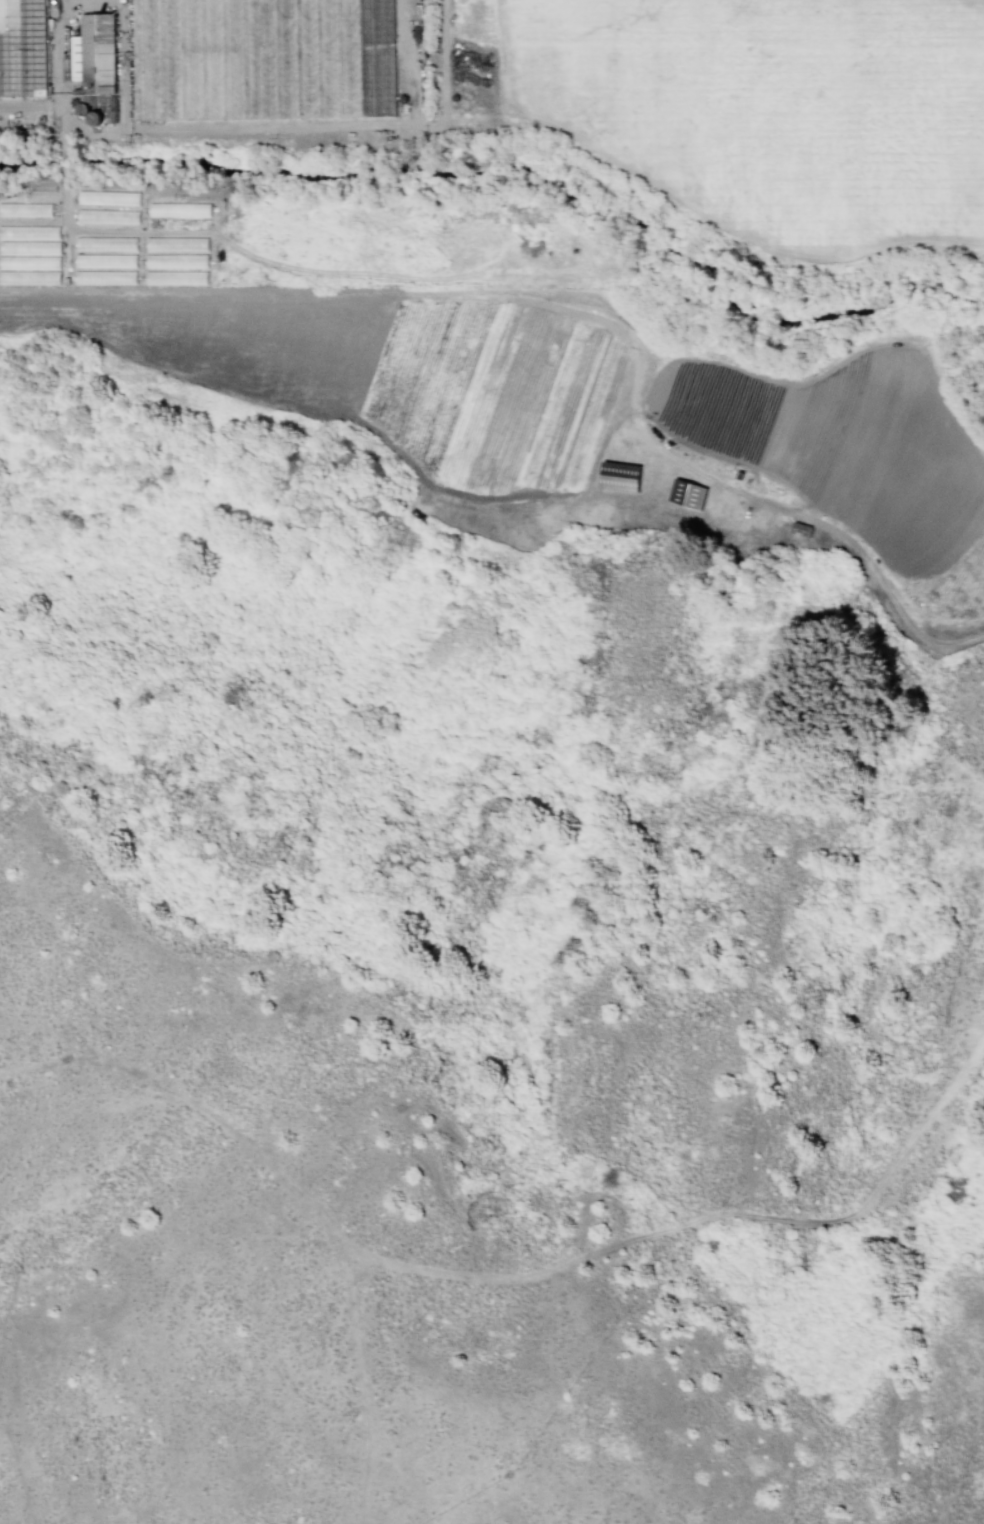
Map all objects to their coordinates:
building: (33, 209)
building: (178, 209)
building: (106, 216)
crop: (536, 239)
building: (104, 243)
building: (29, 254)
building: (104, 260)
building: (175, 260)
building: (104, 277)
building: (175, 277)
road: (588, 295)
building: (618, 476)
building: (685, 494)
road: (504, 1287)
road: (356, 1384)

